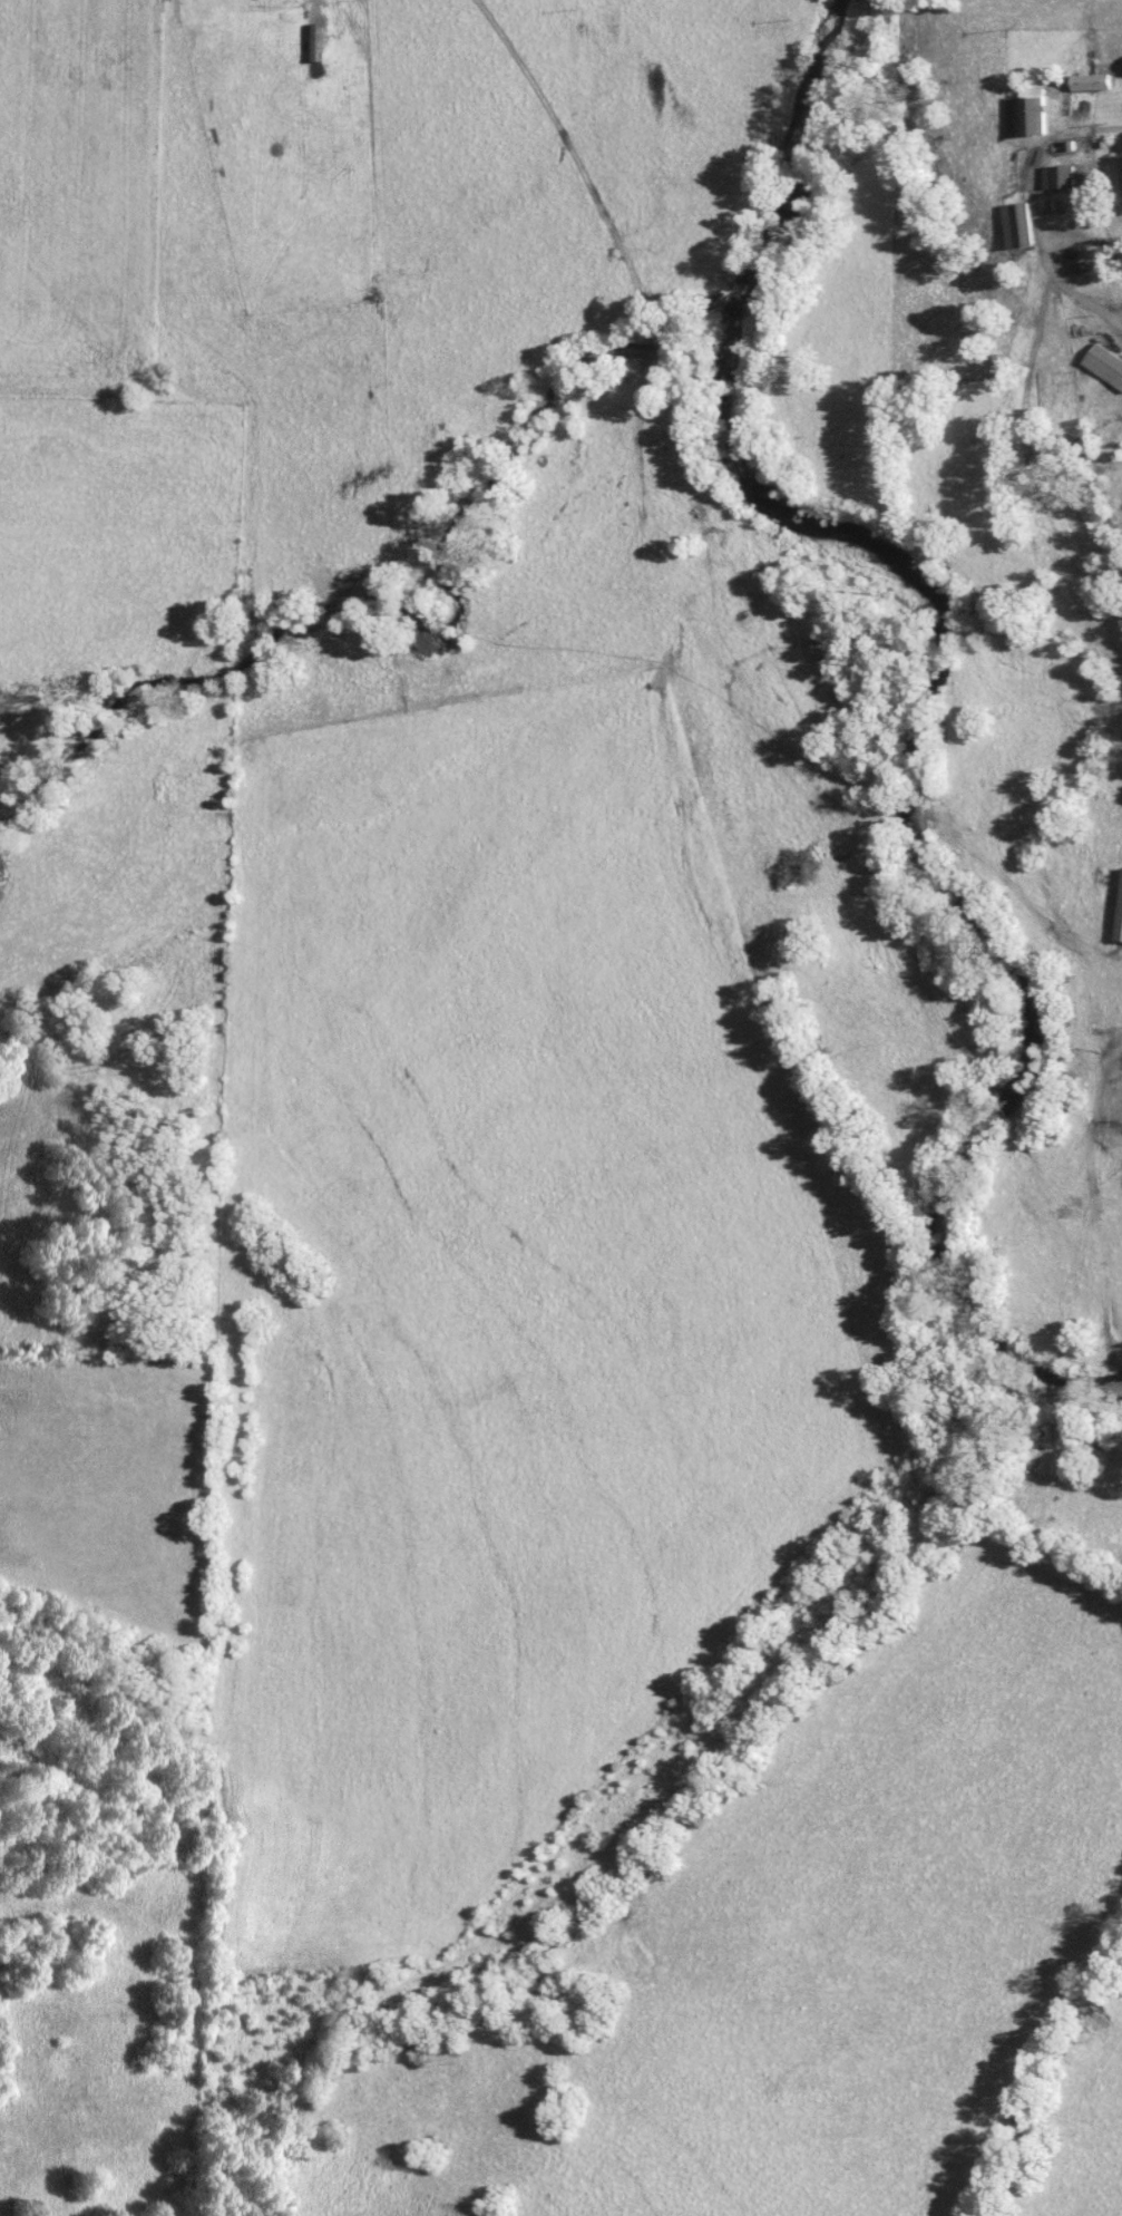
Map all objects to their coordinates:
building: (1091, 81)
building: (1026, 111)
building: (1057, 175)
building: (1121, 183)
building: (1017, 224)
building: (1105, 365)
building: (431, 676)
building: (1120, 924)

